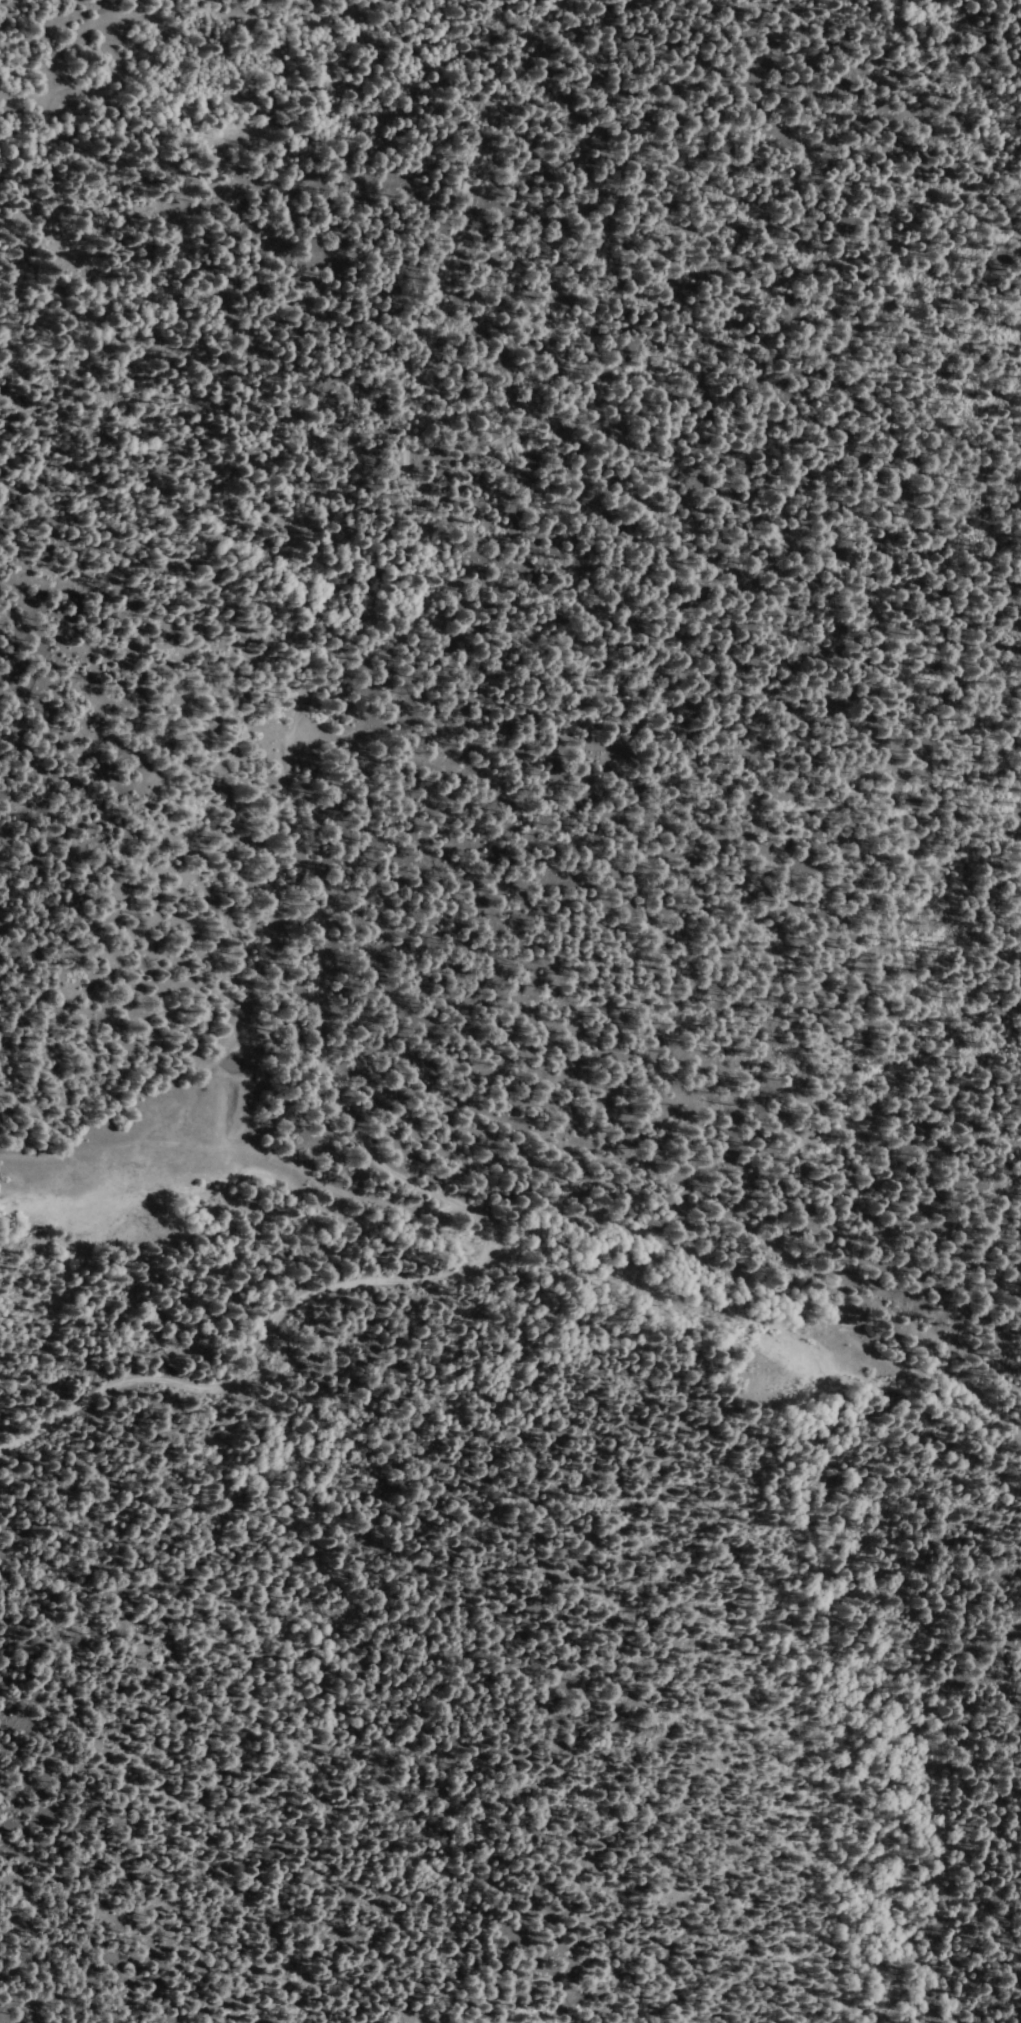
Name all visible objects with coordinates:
road: (620, 829)

